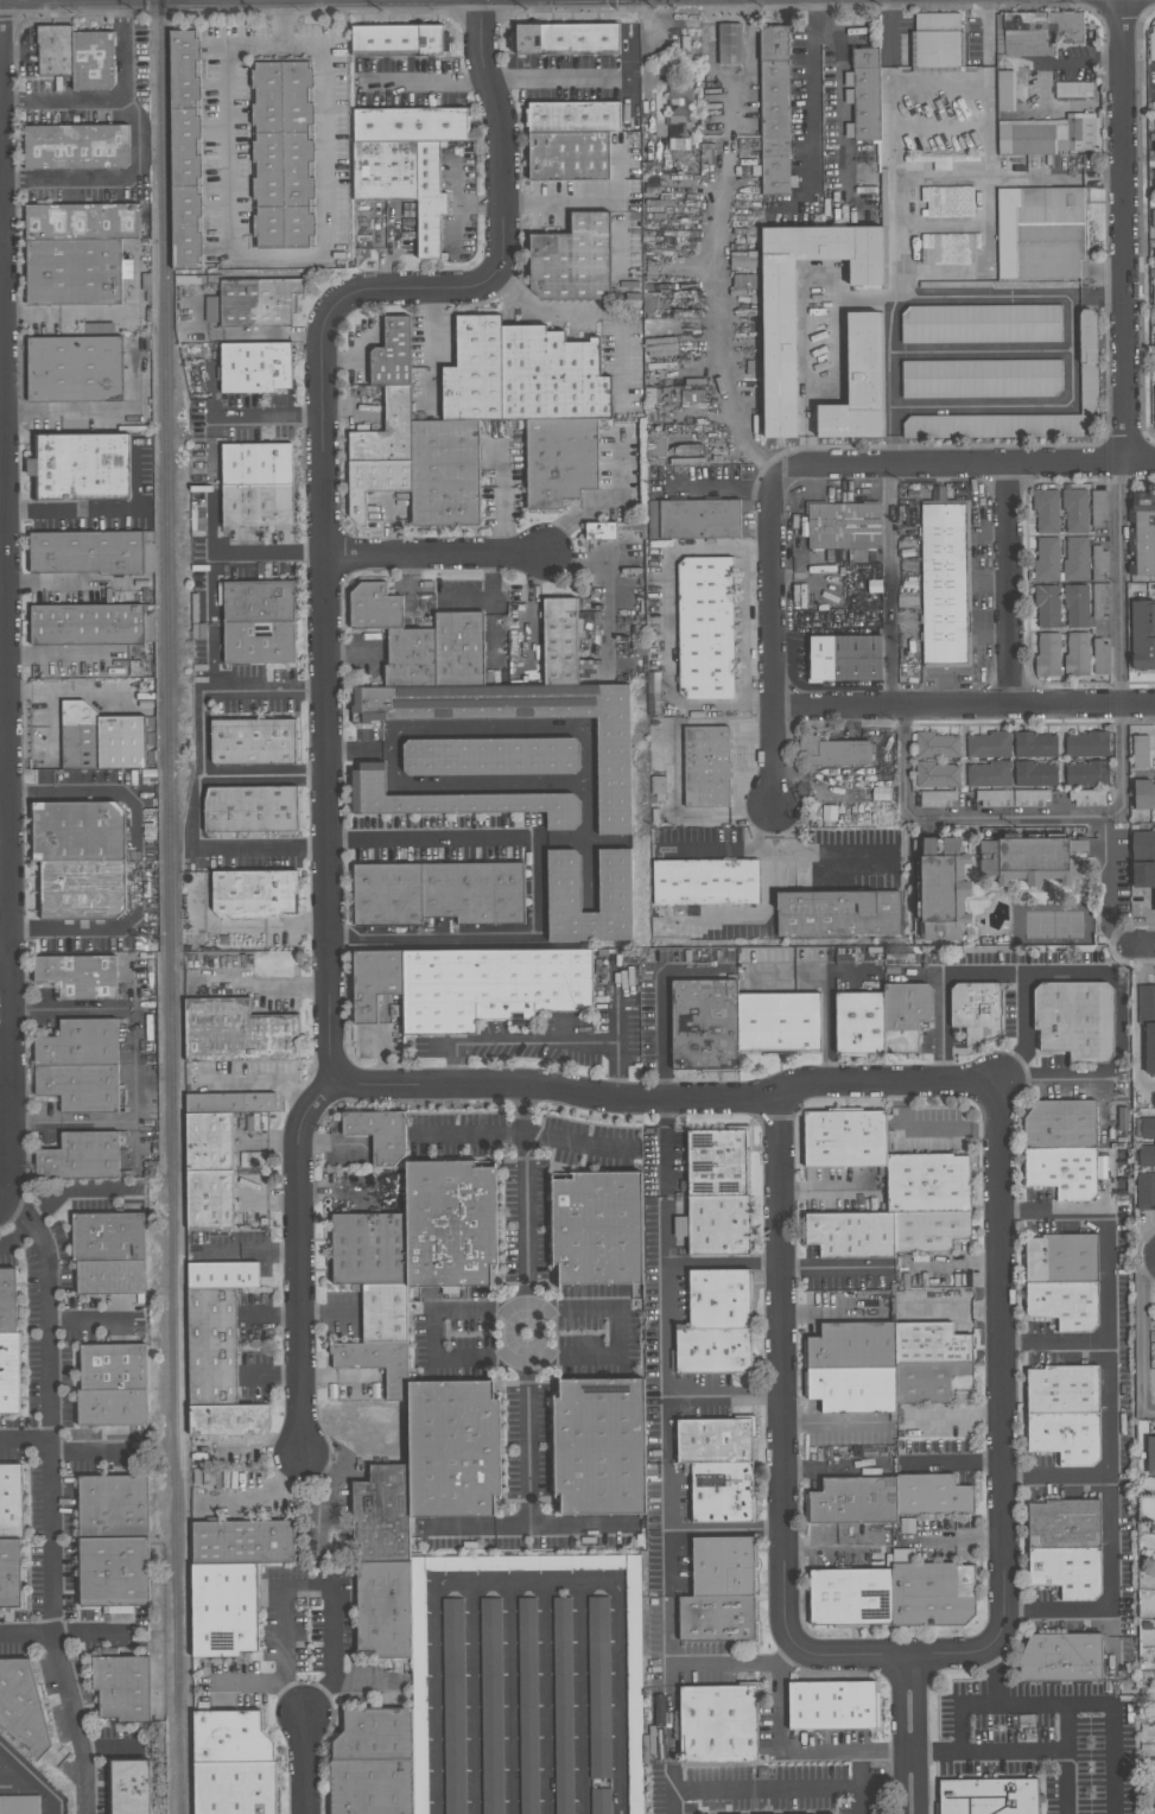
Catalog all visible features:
road: (751, 6)
road: (277, 21)
building: (1036, 32)
road: (889, 33)
road: (990, 33)
building: (570, 42)
building: (400, 43)
building: (937, 43)
building: (730, 44)
building: (1151, 45)
road: (122, 49)
building: (55, 50)
building: (93, 61)
road: (1154, 77)
road: (557, 78)
road: (426, 80)
road: (939, 80)
road: (710, 90)
road: (838, 90)
building: (1004, 90)
building: (1073, 90)
building: (863, 95)
road: (65, 99)
road: (0, 100)
road: (806, 109)
building: (679, 110)
building: (774, 112)
road: (889, 113)
building: (1154, 115)
building: (577, 119)
building: (411, 123)
building: (1051, 135)
building: (76, 146)
building: (186, 148)
building: (1154, 148)
road: (502, 153)
building: (283, 154)
building: (571, 159)
building: (385, 171)
road: (107, 175)
road: (941, 176)
building: (1154, 178)
building: (430, 199)
building: (947, 201)
road: (559, 202)
road: (988, 209)
road: (1, 215)
building: (1153, 218)
building: (84, 224)
road: (895, 228)
road: (1124, 230)
building: (1040, 233)
building: (947, 247)
road: (272, 255)
building: (1154, 258)
building: (573, 260)
building: (76, 274)
road: (415, 292)
building: (1154, 292)
road: (1097, 294)
building: (259, 302)
road: (533, 309)
building: (211, 310)
road: (801, 310)
road: (716, 321)
building: (981, 324)
road: (275, 336)
road: (1070, 349)
building: (392, 354)
building: (1087, 363)
building: (782, 364)
road: (839, 366)
building: (255, 367)
building: (76, 372)
building: (475, 372)
building: (552, 376)
building: (982, 379)
road: (1, 381)
road: (893, 381)
building: (862, 386)
road: (249, 414)
building: (387, 431)
road: (214, 444)
building: (559, 461)
road: (965, 464)
building: (260, 467)
building: (87, 469)
building: (444, 472)
building: (375, 482)
road: (717, 488)
building: (1098, 507)
road: (102, 508)
building: (260, 508)
building: (1046, 510)
building: (1074, 510)
building: (693, 519)
building: (846, 528)
building: (611, 529)
building: (1141, 533)
building: (87, 551)
road: (269, 556)
road: (442, 556)
building: (1047, 559)
building: (1075, 559)
building: (1099, 564)
road: (668, 576)
building: (946, 583)
road: (1008, 585)
road: (887, 586)
road: (5, 595)
building: (1099, 600)
building: (260, 603)
building: (1047, 605)
building: (1077, 607)
building: (377, 610)
road: (2, 624)
building: (85, 624)
building: (705, 628)
road: (747, 628)
building: (1142, 636)
building: (261, 645)
building: (563, 645)
building: (462, 652)
road: (773, 652)
road: (59, 654)
building: (1075, 654)
building: (1046, 655)
building: (1098, 657)
building: (844, 659)
building: (413, 660)
road: (222, 691)
road: (721, 706)
road: (964, 708)
road: (1122, 708)
building: (100, 738)
building: (255, 744)
building: (934, 746)
building: (986, 746)
building: (1033, 746)
building: (1086, 746)
building: (1141, 751)
building: (833, 753)
road: (353, 754)
road: (385, 754)
building: (491, 756)
road: (584, 765)
building: (705, 767)
building: (988, 774)
building: (1034, 774)
building: (934, 775)
building: (1086, 775)
building: (1144, 793)
building: (1029, 798)
building: (1087, 798)
building: (935, 799)
building: (994, 799)
building: (457, 800)
building: (248, 810)
road: (198, 811)
road: (956, 816)
building: (76, 832)
road: (585, 835)
road: (132, 860)
building: (1143, 860)
building: (1034, 861)
building: (563, 881)
road: (326, 883)
road: (537, 884)
building: (702, 886)
building: (943, 889)
building: (81, 892)
building: (253, 895)
building: (436, 895)
railway: (172, 906)
building: (840, 916)
road: (245, 922)
road: (1137, 946)
road: (4, 956)
road: (985, 969)
building: (81, 978)
road: (264, 983)
building: (373, 983)
building: (489, 988)
road: (661, 988)
building: (1146, 1006)
road: (94, 1009)
building: (975, 1011)
building: (903, 1017)
building: (1074, 1020)
road: (1136, 1021)
building: (776, 1023)
building: (858, 1025)
building: (703, 1026)
building: (240, 1035)
road: (542, 1040)
road: (5, 1044)
building: (81, 1047)
road: (1053, 1078)
road: (664, 1079)
road: (255, 1085)
building: (82, 1089)
road: (133, 1093)
road: (669, 1099)
building: (261, 1105)
building: (217, 1106)
road: (28, 1122)
road: (59, 1122)
road: (928, 1125)
building: (1060, 1127)
building: (1147, 1128)
building: (376, 1135)
building: (848, 1142)
road: (665, 1143)
building: (1147, 1156)
building: (82, 1160)
building: (716, 1163)
building: (1061, 1172)
road: (4, 1173)
building: (211, 1173)
building: (931, 1185)
road: (76, 1190)
building: (1146, 1191)
building: (449, 1225)
building: (680, 1226)
building: (718, 1226)
building: (596, 1231)
building: (932, 1232)
road: (15, 1236)
building: (853, 1237)
building: (110, 1239)
building: (368, 1250)
road: (252, 1254)
building: (1060, 1261)
road: (723, 1263)
road: (952, 1266)
road: (833, 1268)
road: (1111, 1274)
building: (226, 1277)
building: (113, 1280)
building: (8, 1304)
road: (527, 1306)
building: (1064, 1306)
building: (383, 1314)
building: (718, 1326)
road: (617, 1332)
road: (433, 1334)
building: (929, 1345)
road: (1142, 1345)
building: (851, 1346)
building: (215, 1349)
building: (376, 1364)
road: (1002, 1365)
building: (114, 1369)
road: (781, 1372)
building: (11, 1376)
building: (929, 1383)
building: (851, 1389)
building: (1061, 1390)
road: (725, 1397)
building: (114, 1410)
road: (1108, 1412)
road: (957, 1415)
building: (230, 1422)
building: (1064, 1438)
building: (713, 1441)
building: (597, 1448)
building: (451, 1453)
building: (1150, 1458)
road: (956, 1463)
road: (834, 1472)
road: (669, 1489)
building: (721, 1493)
building: (931, 1497)
road: (51, 1499)
building: (9, 1501)
building: (851, 1503)
building: (115, 1510)
building: (380, 1516)
building: (1067, 1527)
road: (726, 1529)
building: (245, 1546)
road: (1109, 1546)
building: (721, 1568)
building: (115, 1574)
building: (11, 1575)
building: (1070, 1575)
road: (527, 1581)
road: (305, 1586)
building: (931, 1597)
building: (850, 1599)
building: (382, 1610)
building: (227, 1612)
building: (716, 1620)
road: (893, 1656)
building: (1060, 1657)
road: (249, 1681)
road: (994, 1681)
building: (599, 1687)
building: (125, 1691)
building: (634, 1696)
road: (512, 1698)
building: (21, 1705)
building: (528, 1705)
building: (563, 1705)
building: (453, 1706)
building: (491, 1706)
road: (1046, 1706)
building: (831, 1707)
building: (717, 1726)
road: (1065, 1729)
road: (780, 1734)
road: (910, 1734)
building: (374, 1736)
building: (228, 1738)
road: (1043, 1752)
road: (304, 1764)
road: (32, 1778)
building: (237, 1788)
building: (372, 1788)
road: (798, 1788)
building: (132, 1789)
building: (986, 1797)
building: (601, 1801)
building: (19, 1805)

